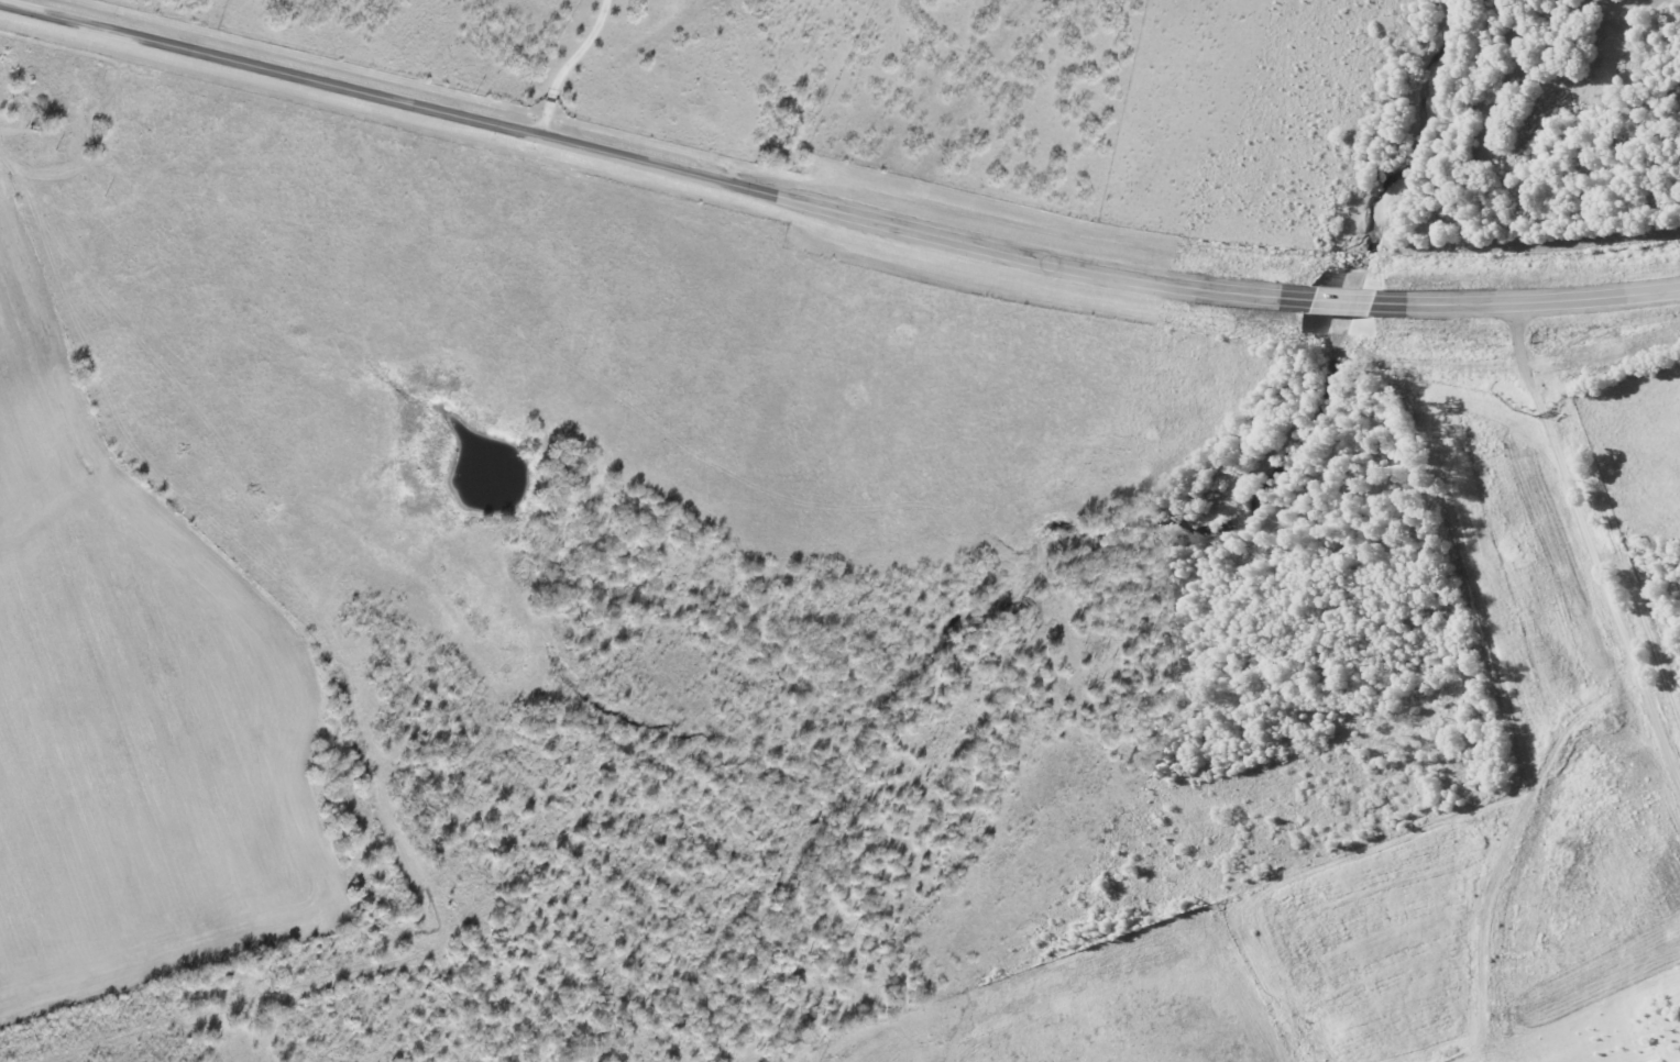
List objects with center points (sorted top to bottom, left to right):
road: (570, 67)
road: (832, 212)
road: (1599, 530)

